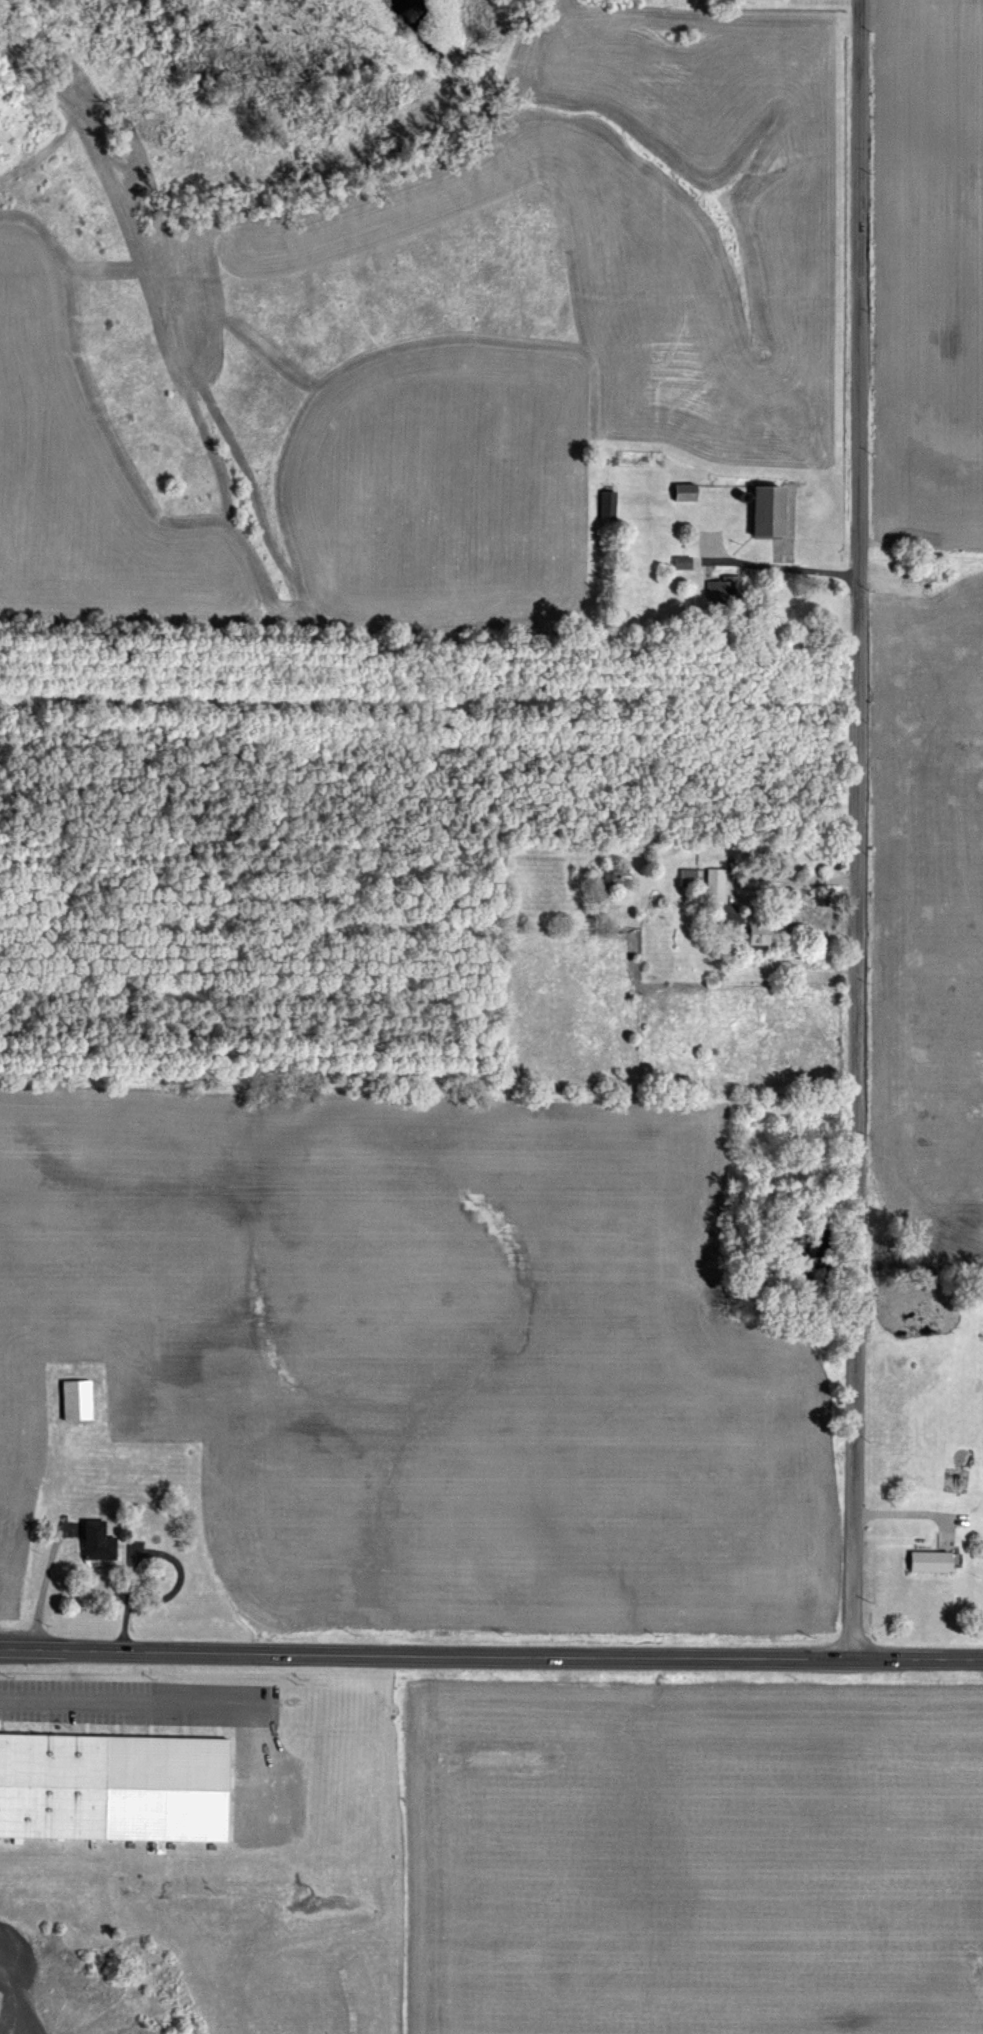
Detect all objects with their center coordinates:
building: (679, 491)
building: (603, 503)
building: (758, 509)
road: (788, 566)
building: (719, 588)
road: (852, 828)
building: (685, 876)
building: (712, 883)
road: (789, 890)
building: (725, 915)
building: (752, 931)
building: (71, 1398)
road: (912, 1511)
building: (94, 1540)
building: (925, 1560)
road: (491, 1653)
road: (114, 1700)
building: (52, 1785)

